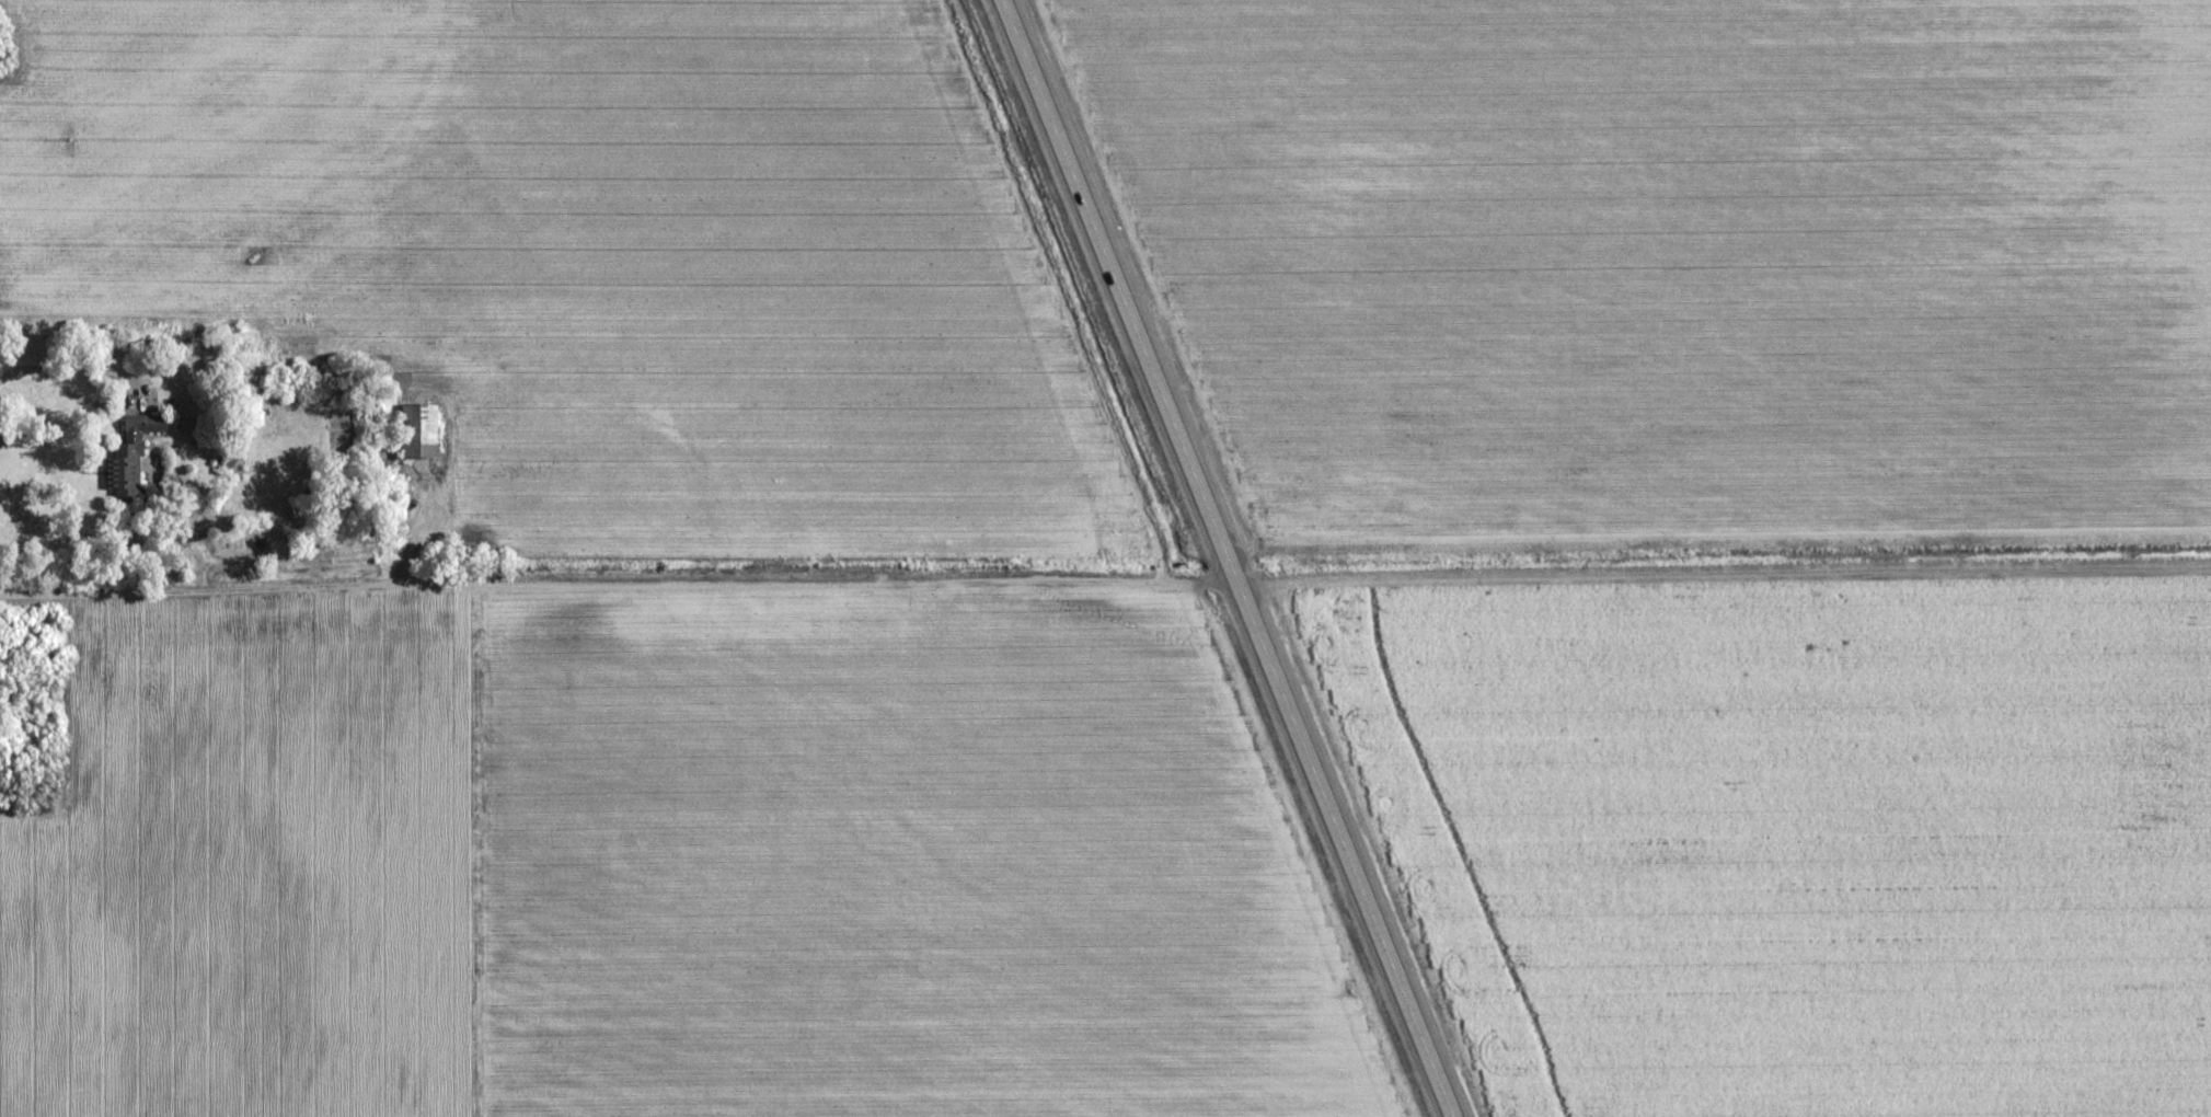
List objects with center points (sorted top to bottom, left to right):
building: (419, 429)
building: (130, 457)
road: (1223, 558)
road: (615, 585)

